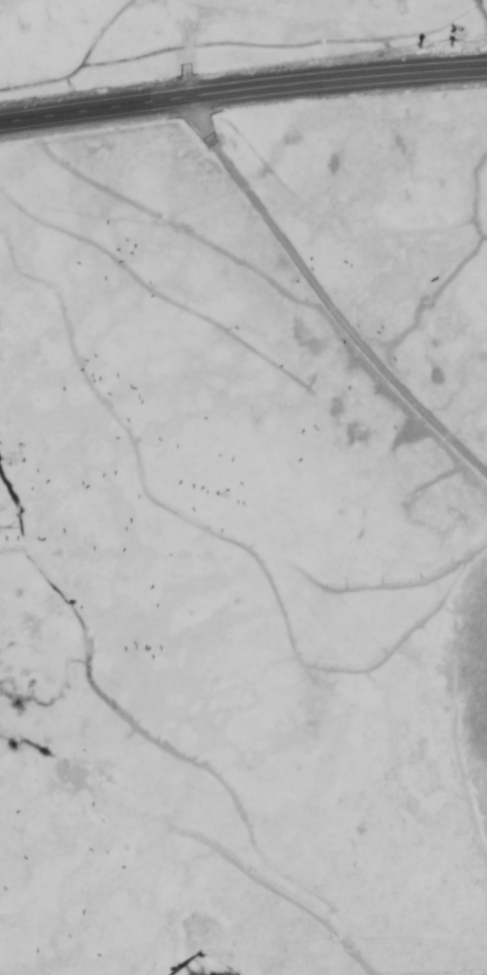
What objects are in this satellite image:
road: (242, 83)
road: (318, 297)

